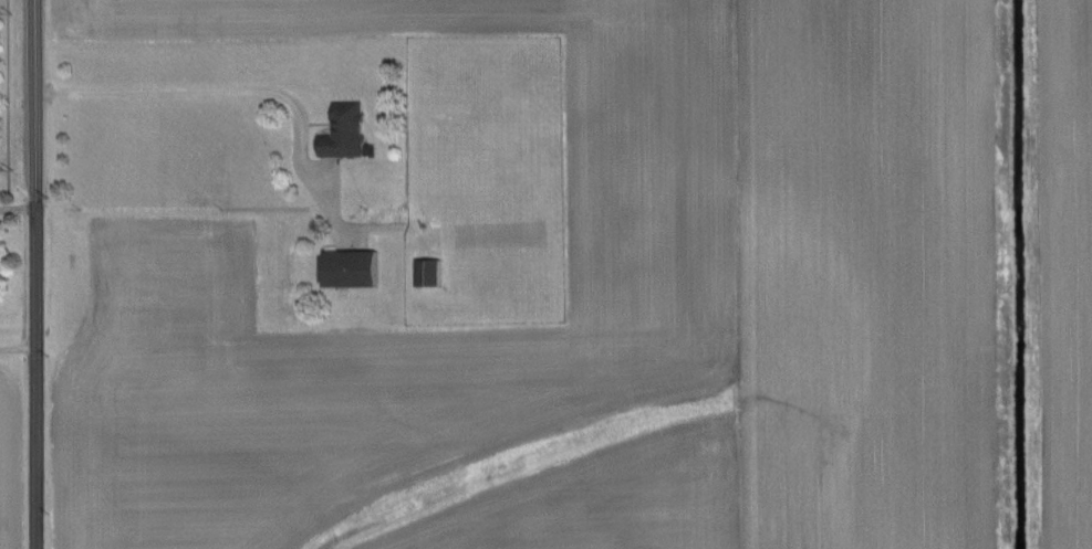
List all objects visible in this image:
road: (259, 93)
road: (11, 95)
building: (345, 130)
road: (15, 210)
building: (351, 266)
building: (431, 272)
road: (32, 274)
crop: (171, 275)
crop: (668, 307)
road: (17, 349)
crop: (12, 461)

